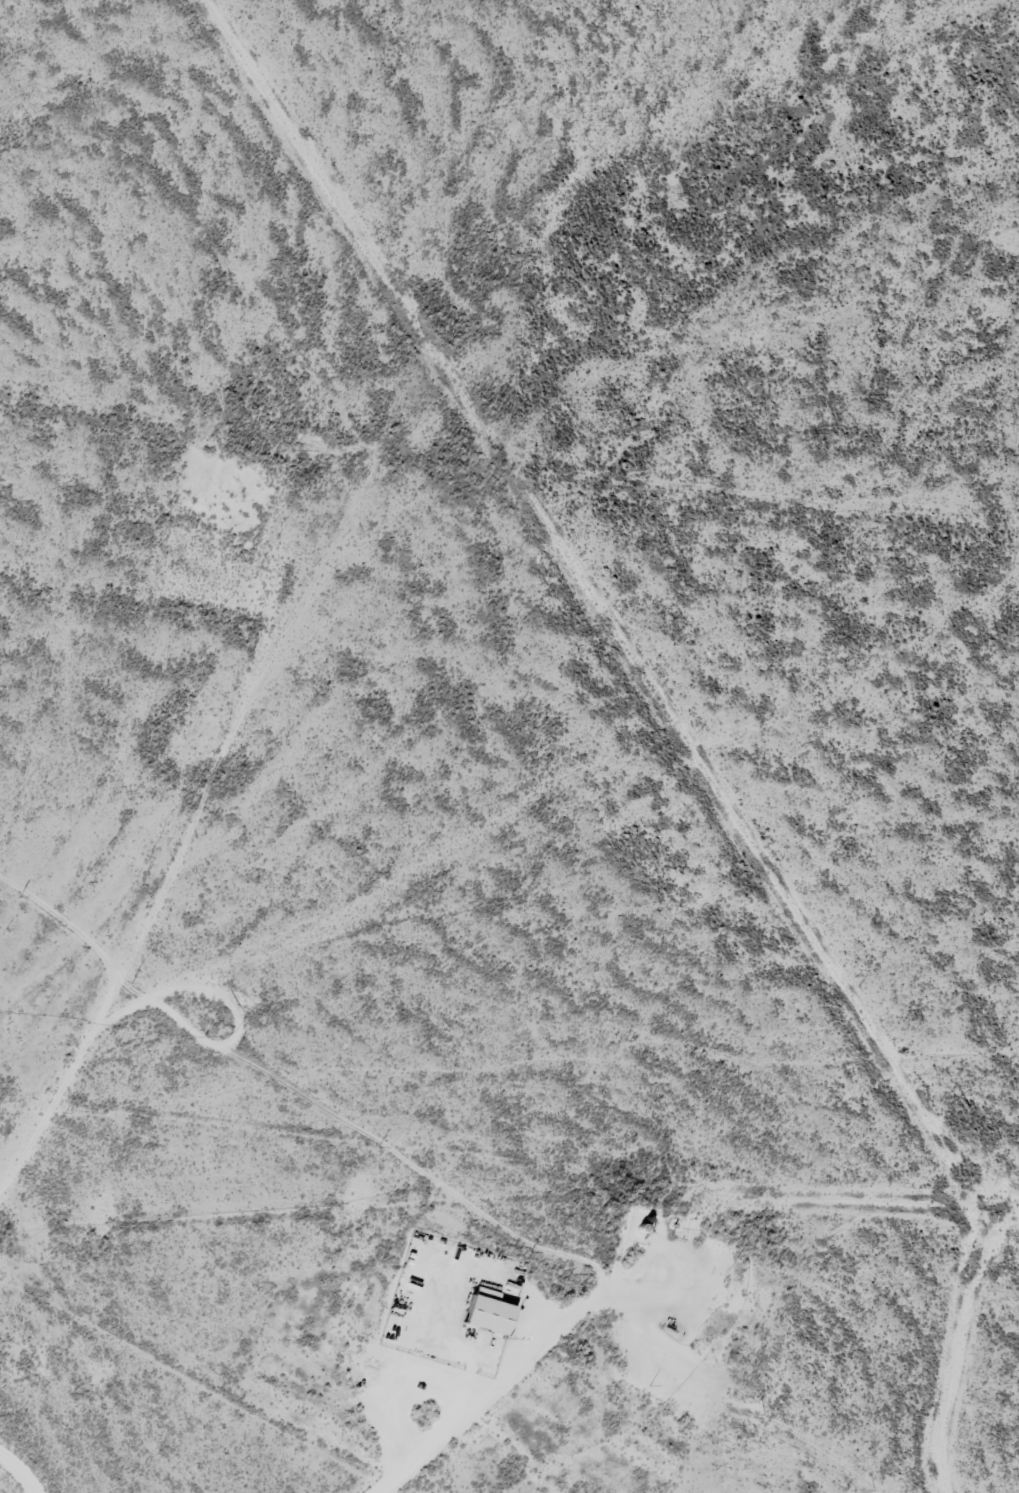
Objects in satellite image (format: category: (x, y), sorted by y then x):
building: (493, 1315)
road: (11, 1476)

